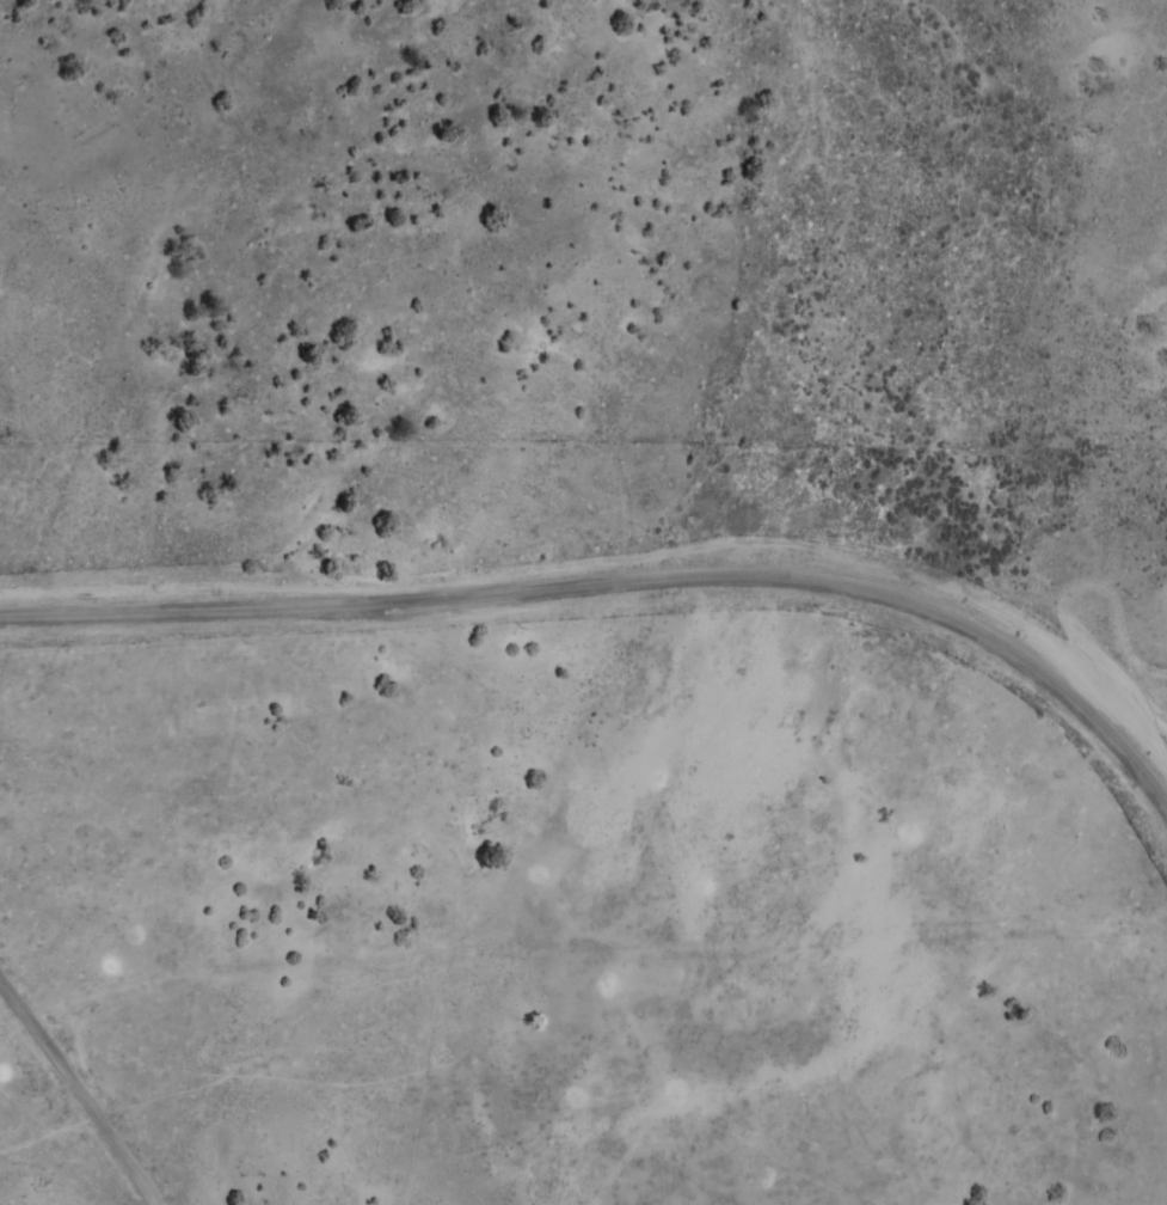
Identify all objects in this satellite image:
road: (625, 582)

